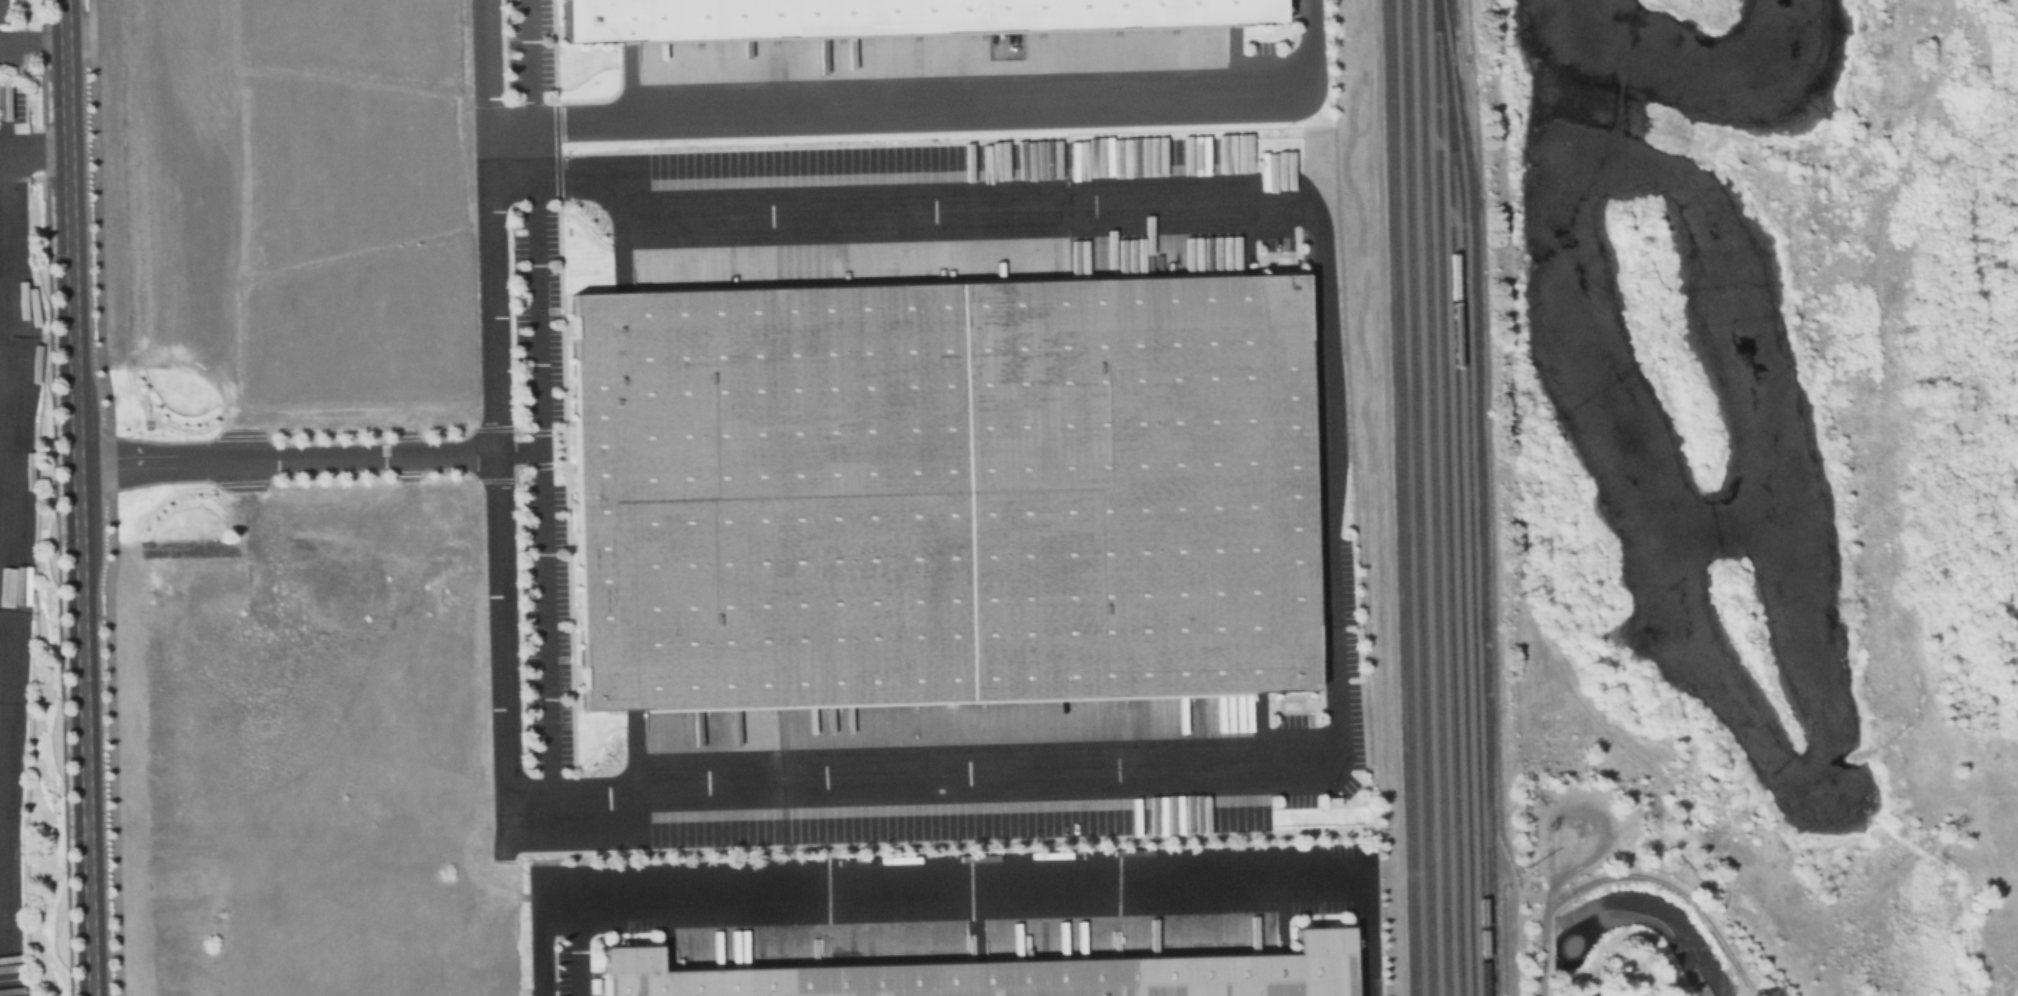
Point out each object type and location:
building: (884, 15)
road: (33, 43)
road: (487, 63)
road: (529, 63)
road: (940, 101)
road: (34, 151)
road: (490, 154)
road: (1326, 308)
road: (7, 385)
road: (522, 452)
road: (545, 487)
building: (934, 491)
road: (78, 497)
road: (111, 497)
railway: (1471, 497)
railway: (1401, 498)
railway: (1416, 498)
railway: (1433, 498)
railway: (1448, 498)
road: (1495, 498)
railway: (1459, 529)
road: (965, 894)
road: (1528, 943)
road: (576, 950)
building: (1006, 971)
railway: (1356, 987)

